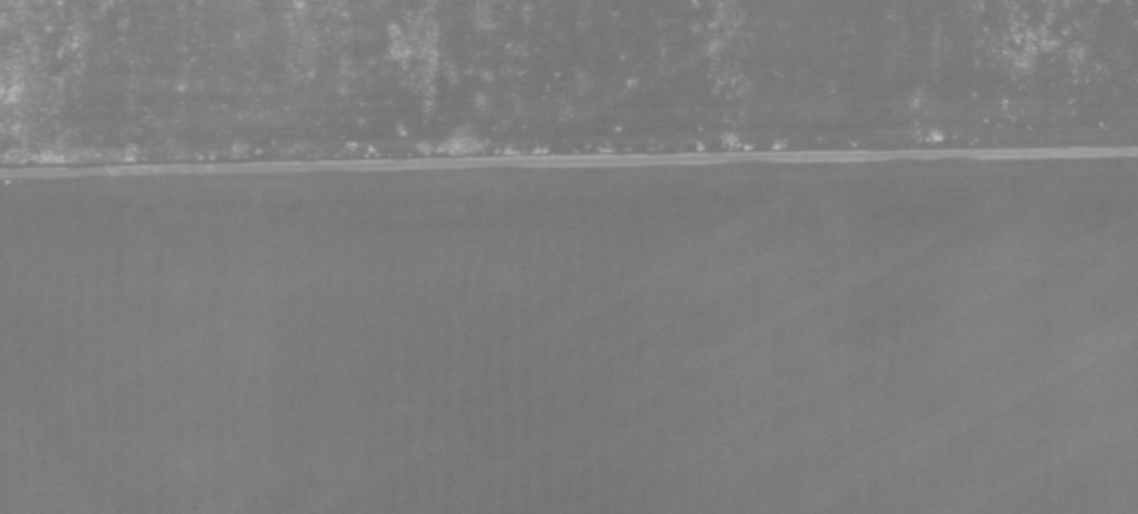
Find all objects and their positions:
crop: (568, 257)

